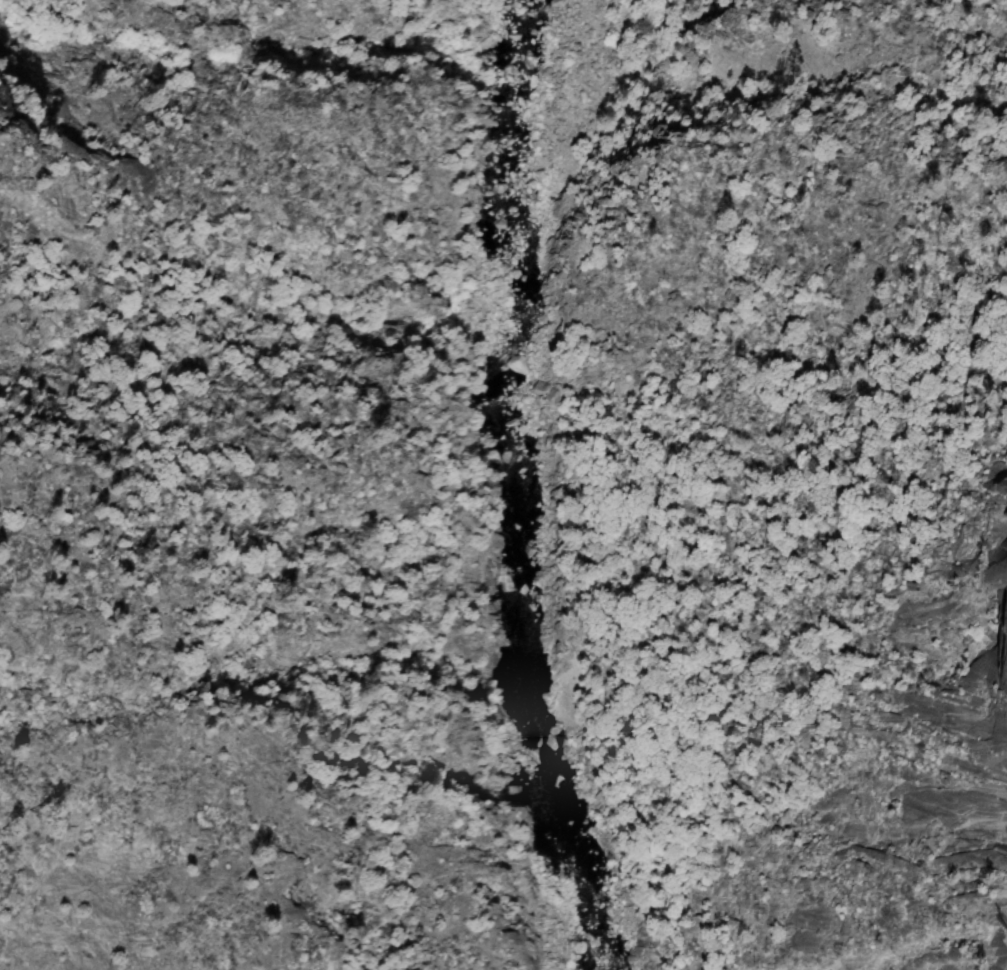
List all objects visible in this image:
river: (520, 487)

